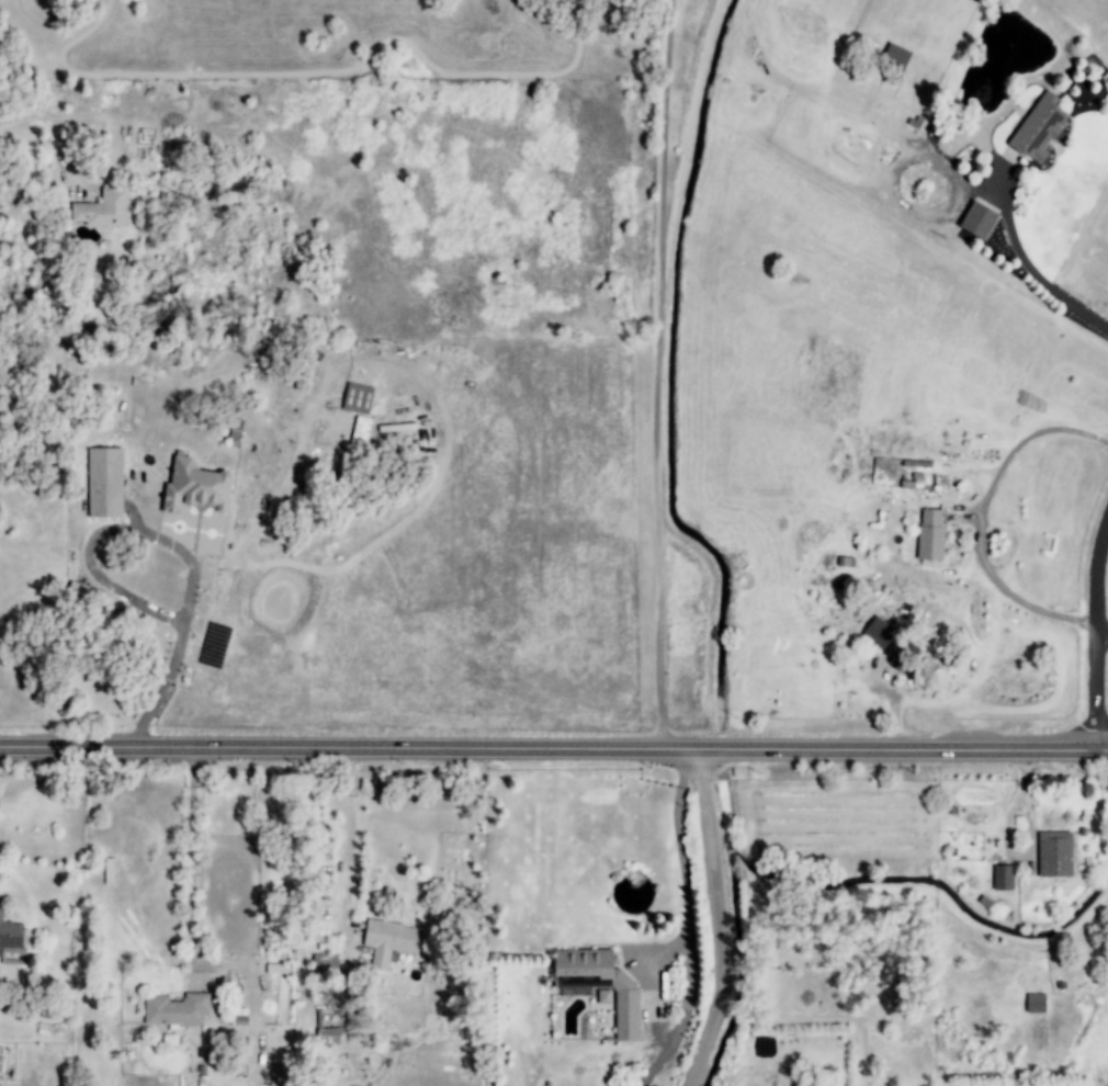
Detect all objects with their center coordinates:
building: (895, 56)
road: (47, 123)
building: (1038, 128)
building: (103, 210)
road: (1033, 270)
road: (658, 374)
building: (357, 398)
building: (360, 432)
building: (913, 482)
building: (104, 483)
building: (194, 486)
road: (985, 516)
building: (929, 535)
road: (194, 572)
road: (1100, 627)
road: (1093, 632)
road: (553, 749)
road: (0, 751)
road: (352, 836)
building: (1054, 855)
road: (192, 860)
road: (682, 869)
building: (1002, 878)
road: (719, 919)
building: (11, 941)
building: (389, 941)
building: (325, 964)
building: (599, 984)
building: (603, 996)
building: (1034, 1004)
building: (176, 1009)
building: (327, 1032)
building: (0, 1063)

